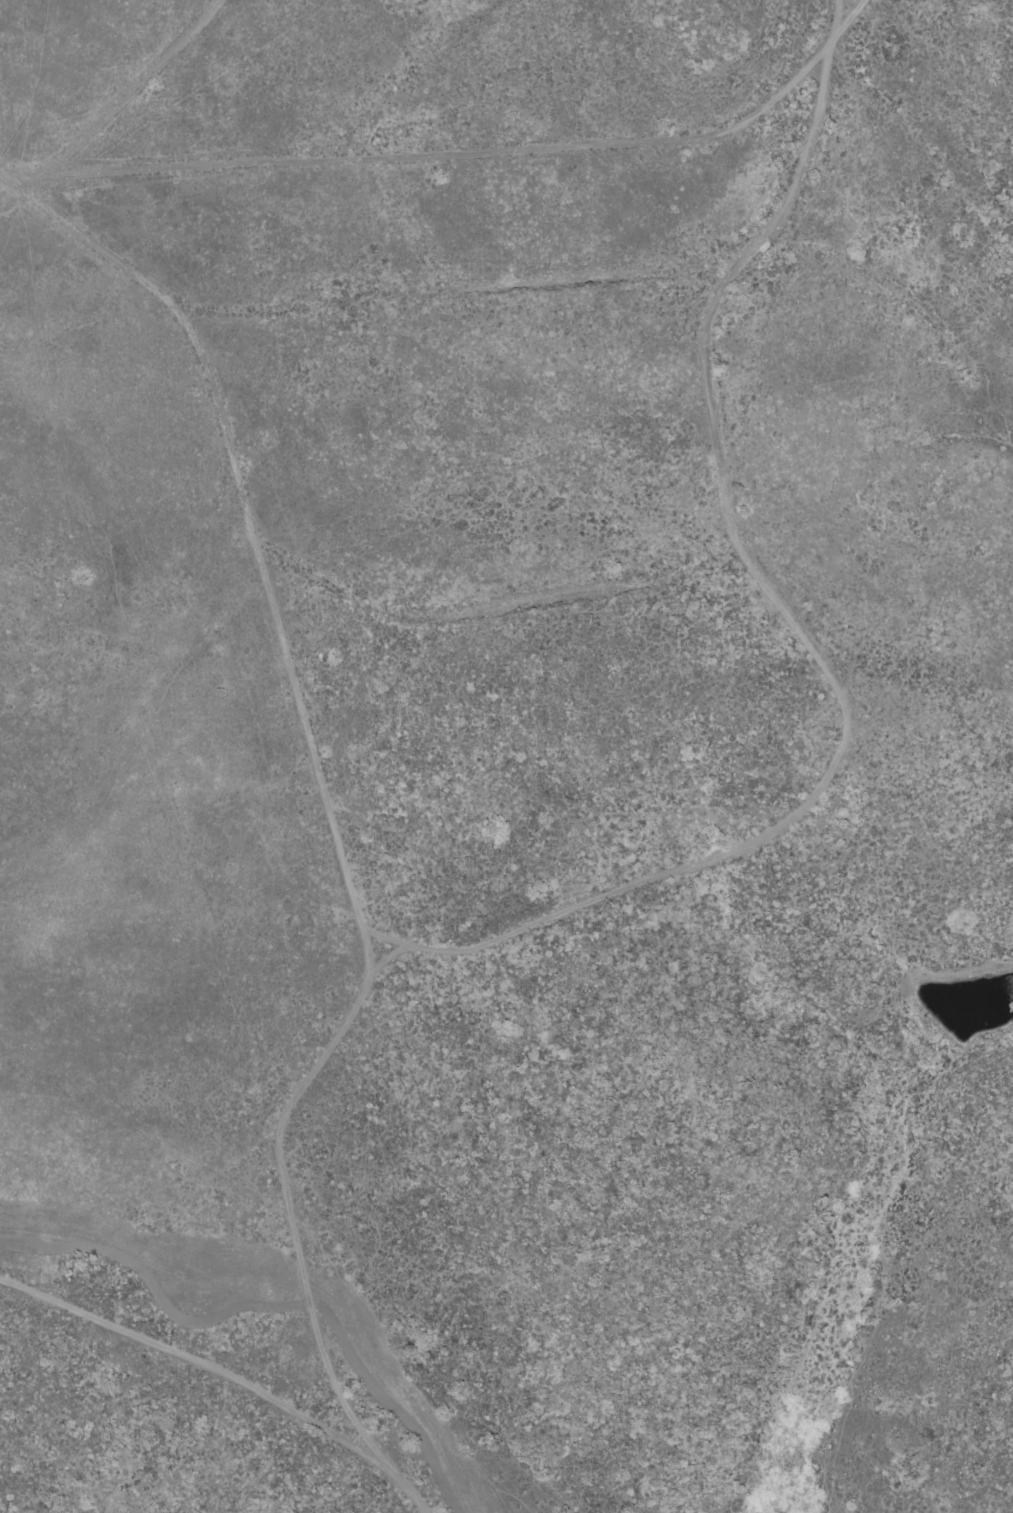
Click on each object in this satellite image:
road: (289, 1212)
road: (226, 1375)

